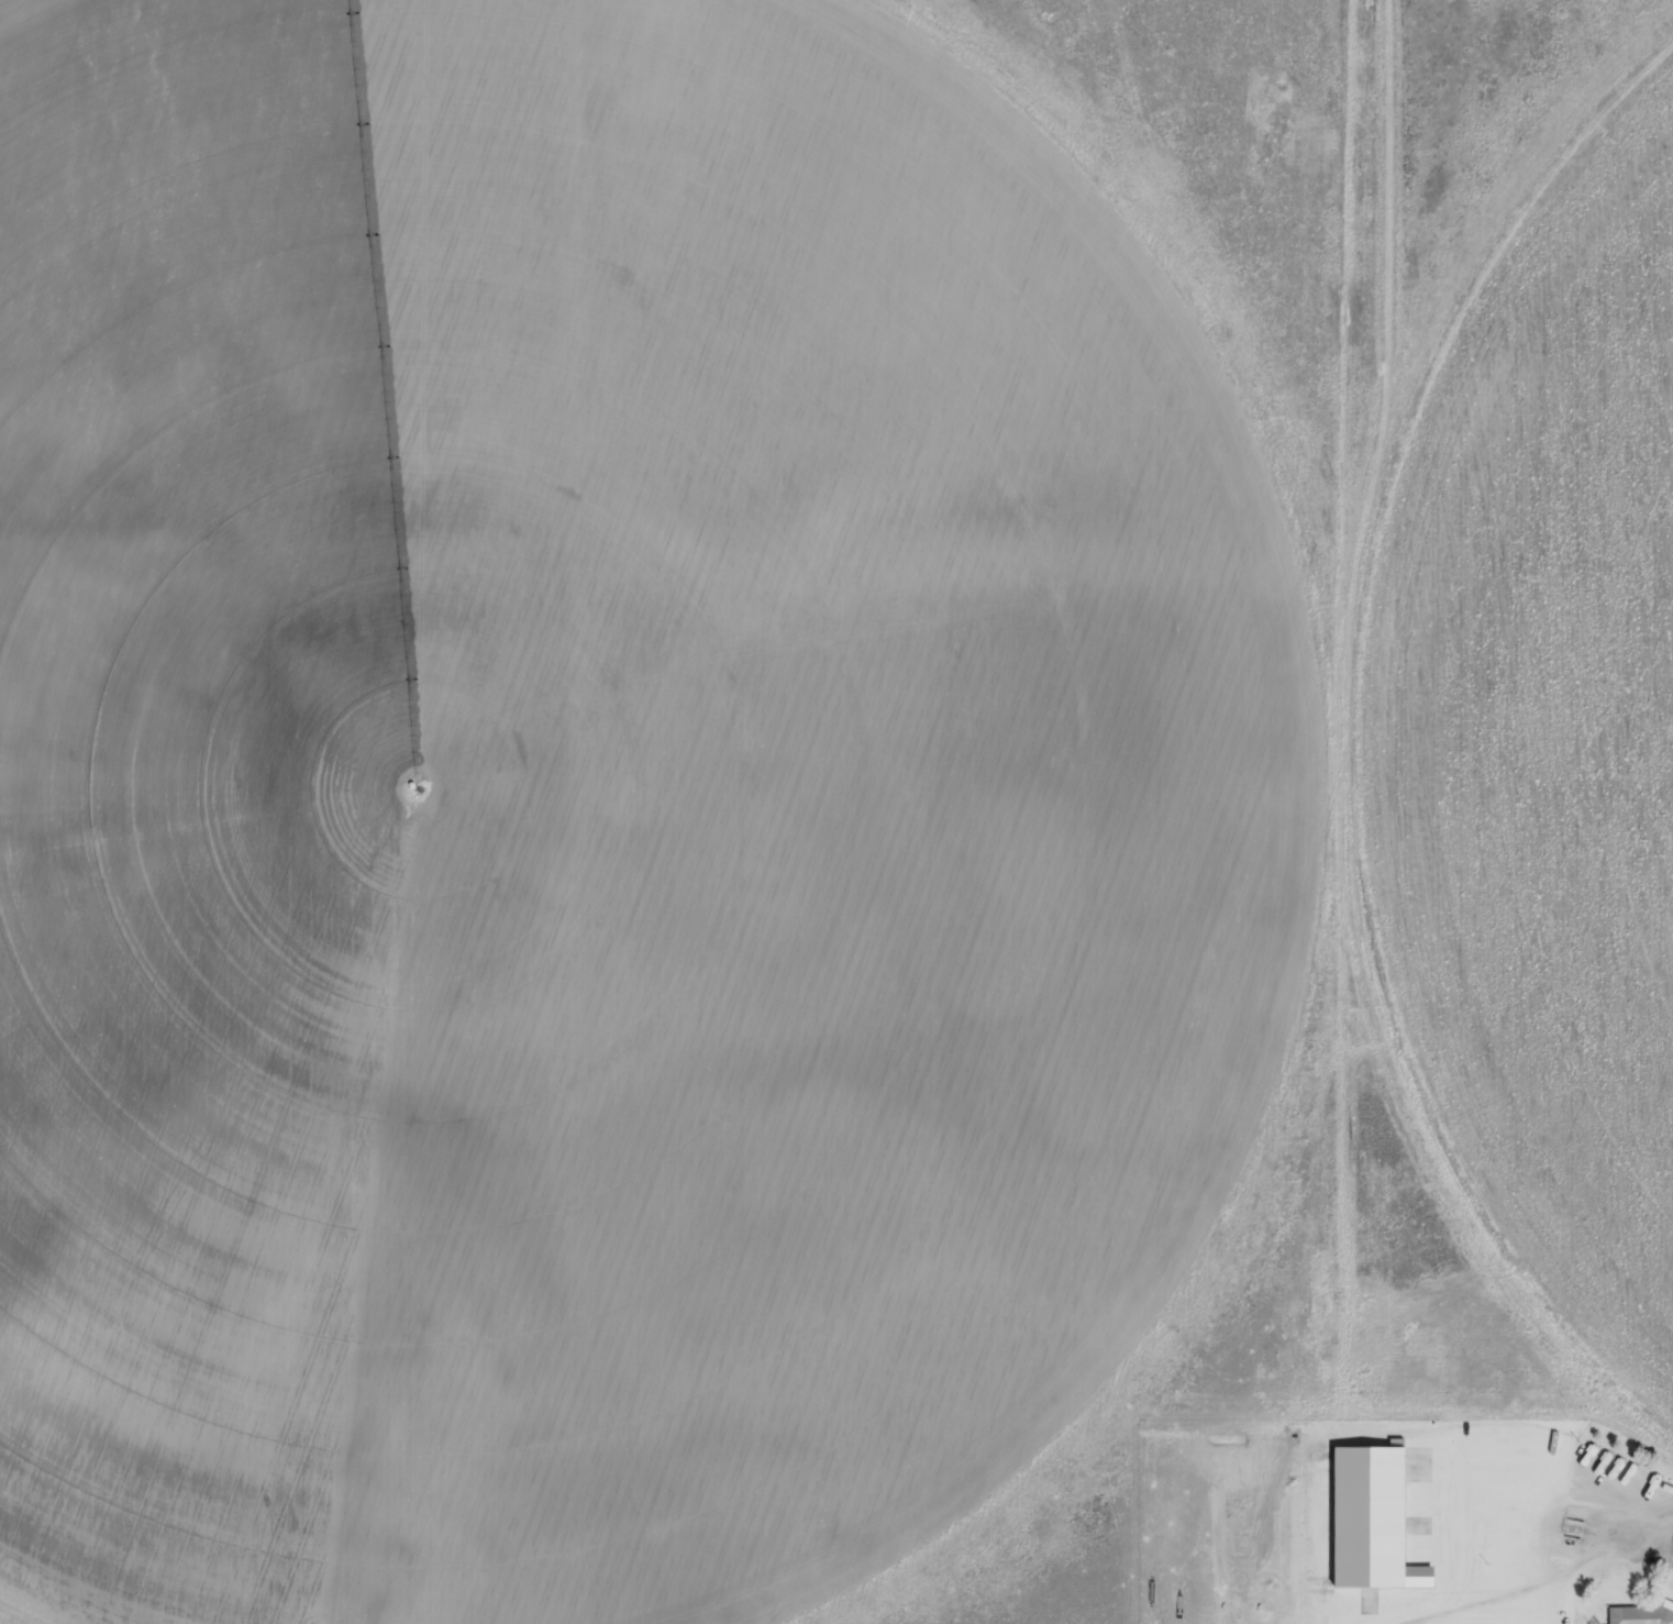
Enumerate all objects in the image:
road: (576, 774)
building: (1672, 1576)
building: (1641, 1613)

